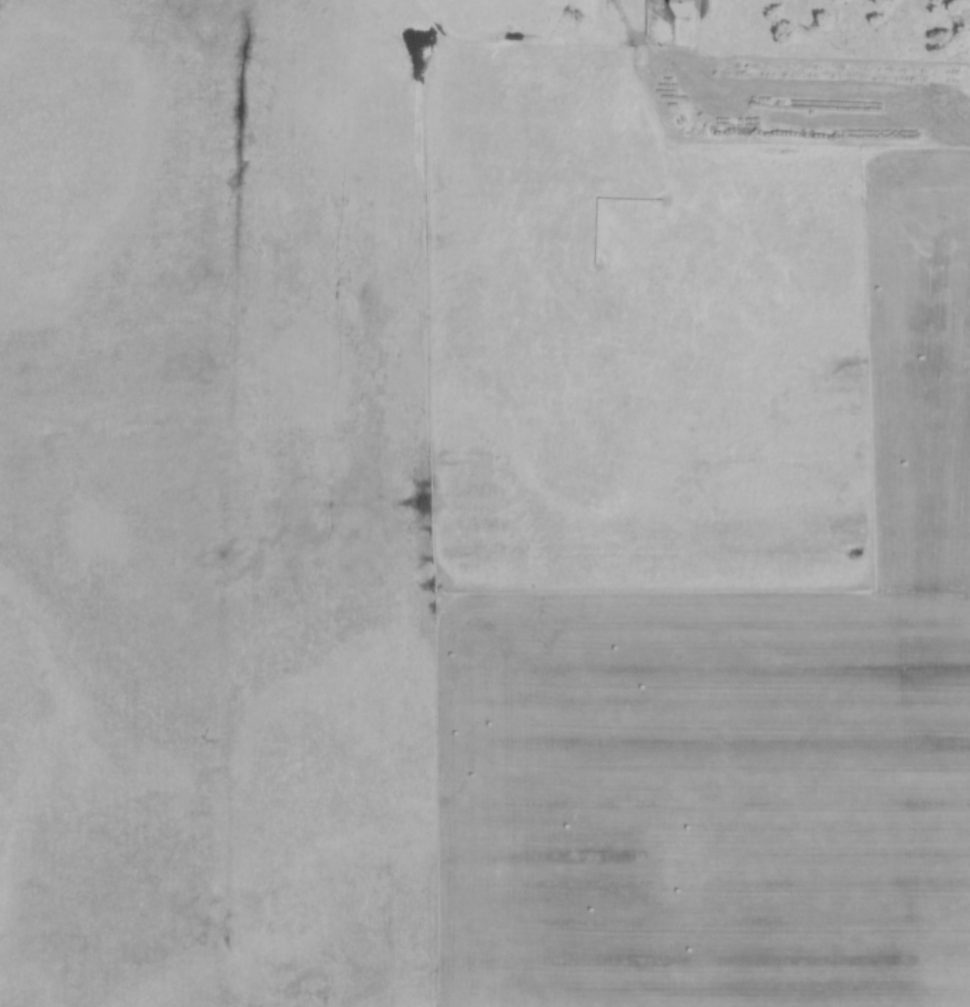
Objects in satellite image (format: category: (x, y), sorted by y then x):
building: (681, 7)

